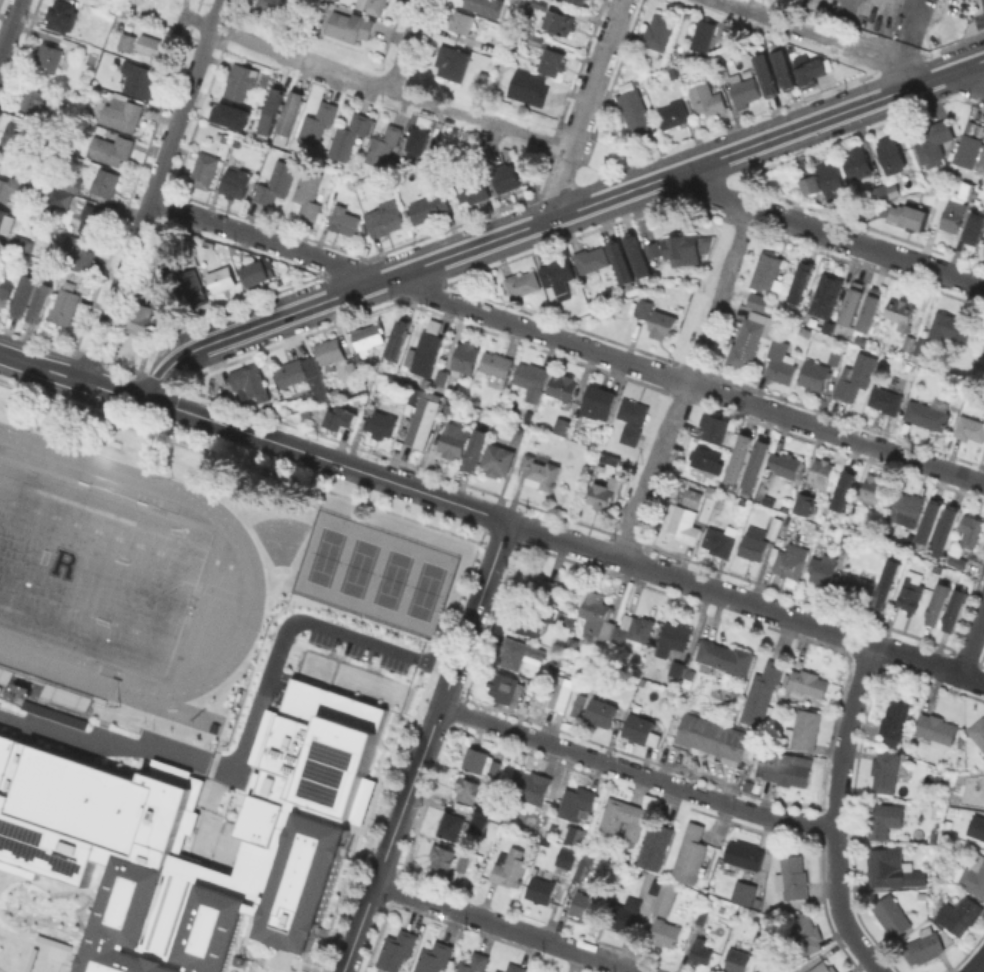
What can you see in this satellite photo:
building: (517, 0)
building: (580, 1)
building: (541, 3)
building: (274, 5)
building: (372, 5)
building: (485, 6)
road: (910, 9)
building: (62, 15)
building: (462, 21)
building: (559, 21)
building: (350, 25)
road: (9, 27)
building: (658, 33)
building: (704, 35)
building: (534, 38)
road: (828, 38)
building: (127, 41)
building: (70, 43)
road: (407, 44)
building: (495, 44)
building: (152, 47)
building: (50, 56)
building: (552, 61)
building: (452, 62)
building: (784, 66)
building: (814, 70)
building: (767, 71)
building: (724, 74)
building: (137, 78)
building: (241, 81)
road: (962, 83)
road: (390, 88)
building: (528, 88)
building: (745, 90)
building: (707, 99)
building: (37, 101)
road: (585, 107)
building: (274, 108)
building: (293, 111)
building: (637, 113)
building: (674, 113)
building: (122, 115)
building: (233, 115)
building: (317, 123)
building: (22, 135)
building: (349, 135)
building: (931, 140)
building: (417, 141)
building: (383, 145)
building: (111, 148)
building: (968, 150)
building: (892, 154)
building: (981, 161)
building: (858, 163)
building: (205, 170)
building: (506, 177)
building: (831, 178)
building: (105, 181)
building: (72, 182)
building: (236, 182)
building: (277, 182)
building: (810, 184)
building: (10, 187)
building: (470, 187)
road: (152, 191)
building: (309, 192)
building: (880, 192)
road: (711, 194)
building: (61, 197)
building: (429, 206)
building: (953, 209)
building: (909, 215)
road: (198, 217)
road: (555, 217)
building: (93, 218)
building: (6, 220)
building: (344, 220)
building: (387, 220)
building: (974, 224)
building: (22, 244)
road: (865, 246)
building: (685, 248)
building: (79, 250)
building: (983, 251)
building: (653, 253)
building: (638, 256)
building: (591, 259)
building: (63, 260)
building: (622, 261)
building: (173, 270)
building: (767, 271)
building: (259, 273)
building: (558, 276)
building: (221, 278)
building: (799, 280)
building: (519, 284)
building: (576, 286)
building: (5, 288)
building: (25, 291)
building: (192, 295)
building: (855, 300)
building: (758, 301)
building: (39, 302)
building: (66, 304)
building: (830, 305)
building: (644, 308)
building: (872, 308)
building: (148, 312)
building: (901, 313)
building: (662, 324)
building: (951, 328)
building: (806, 332)
building: (369, 335)
building: (398, 337)
building: (751, 339)
building: (909, 342)
building: (922, 346)
building: (329, 350)
building: (983, 352)
building: (426, 353)
building: (983, 355)
building: (835, 357)
building: (465, 358)
road: (616, 358)
building: (780, 361)
building: (907, 365)
building: (496, 369)
building: (300, 374)
building: (815, 375)
building: (856, 376)
building: (441, 377)
road: (74, 378)
building: (529, 379)
building: (249, 382)
road: (687, 383)
building: (381, 385)
building: (560, 386)
building: (886, 399)
building: (598, 402)
building: (337, 414)
building: (927, 415)
building: (632, 419)
building: (420, 420)
building: (381, 424)
building: (718, 424)
building: (562, 425)
building: (970, 428)
building: (520, 436)
building: (455, 439)
building: (476, 447)
building: (740, 454)
building: (610, 458)
road: (328, 459)
building: (498, 459)
building: (706, 459)
building: (759, 461)
building: (784, 464)
building: (540, 472)
building: (820, 473)
track: (81, 475)
building: (845, 488)
building: (872, 488)
building: (712, 492)
building: (604, 494)
building: (693, 498)
building: (766, 500)
building: (801, 503)
building: (905, 508)
building: (931, 519)
building: (685, 523)
building: (772, 527)
building: (946, 529)
building: (971, 530)
road: (564, 540)
building: (719, 542)
building: (751, 543)
building: (817, 549)
park: (323, 555)
building: (957, 557)
building: (790, 560)
building: (830, 561)
park: (278, 567)
park: (357, 567)
park: (97, 569)
park: (94, 570)
stadium: (110, 573)
road: (662, 573)
park: (390, 578)
track: (250, 580)
building: (889, 582)
building: (540, 585)
building: (857, 585)
park: (423, 590)
building: (911, 591)
park: (221, 593)
road: (737, 599)
building: (939, 602)
building: (957, 607)
track: (205, 611)
building: (545, 614)
building: (597, 616)
building: (521, 619)
building: (633, 631)
building: (673, 639)
road: (972, 641)
road: (865, 642)
track: (49, 650)
building: (519, 653)
building: (725, 656)
building: (676, 670)
road: (972, 680)
building: (807, 683)
building: (506, 686)
building: (531, 687)
building: (21, 688)
building: (560, 692)
building: (761, 693)
building: (808, 701)
building: (576, 704)
building: (601, 712)
building: (52, 713)
building: (896, 720)
building: (937, 729)
road: (249, 730)
building: (641, 730)
building: (803, 730)
building: (978, 731)
building: (713, 737)
road: (424, 746)
building: (481, 761)
building: (782, 768)
building: (885, 771)
road: (635, 773)
building: (466, 789)
building: (534, 789)
building: (576, 802)
building: (482, 811)
road: (835, 811)
building: (621, 815)
building: (885, 819)
building: (96, 824)
building: (477, 824)
building: (947, 824)
building: (450, 825)
building: (977, 826)
building: (575, 835)
building: (655, 845)
building: (691, 851)
building: (744, 854)
building: (441, 856)
building: (568, 859)
building: (462, 863)
building: (584, 866)
building: (510, 867)
building: (891, 868)
building: (978, 875)
building: (792, 877)
building: (541, 889)
building: (744, 892)
building: (919, 895)
building: (667, 899)
road: (427, 900)
building: (585, 905)
building: (960, 913)
building: (624, 914)
building: (703, 916)
building: (893, 917)
road: (510, 927)
building: (664, 932)
building: (806, 932)
building: (51, 941)
building: (762, 943)
building: (924, 946)
building: (397, 950)
building: (701, 951)
road: (593, 955)
building: (738, 956)
building: (434, 957)
building: (28, 959)
building: (236, 959)
building: (474, 964)
road: (977, 965)
building: (517, 967)
building: (824, 967)
building: (499, 971)

